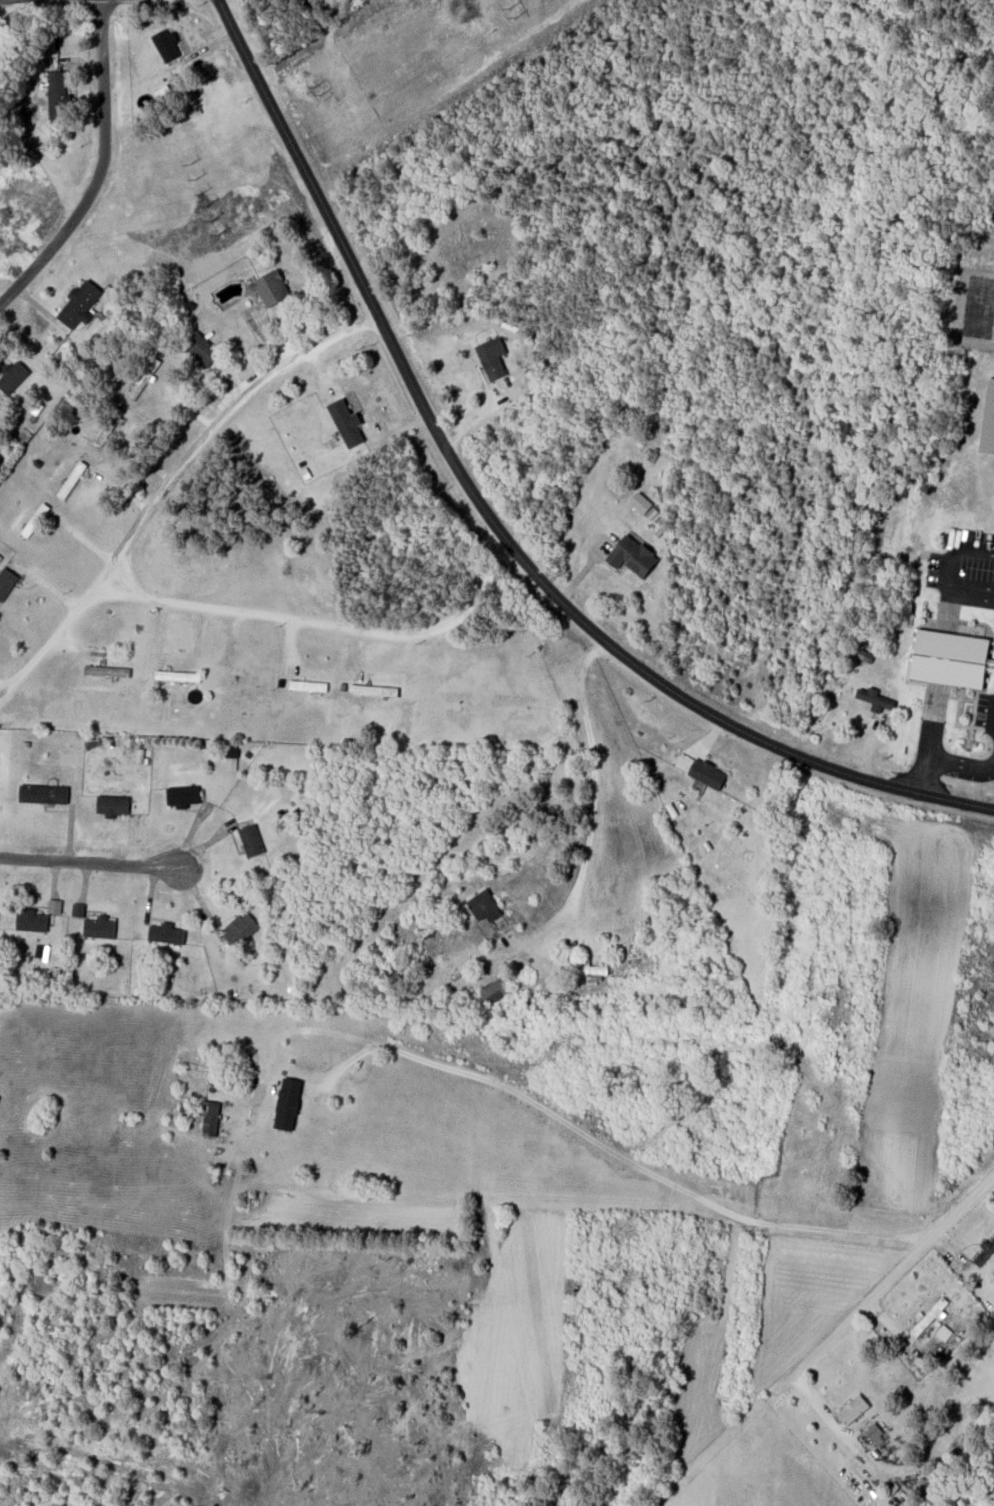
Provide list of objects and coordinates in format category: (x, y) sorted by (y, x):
power tower: (510, 20)
building: (165, 44)
building: (58, 95)
road: (99, 167)
power tower: (190, 174)
power tower: (207, 213)
building: (270, 287)
building: (78, 303)
building: (201, 348)
building: (491, 357)
building: (12, 376)
building: (988, 419)
building: (345, 422)
road: (170, 484)
building: (639, 502)
road: (494, 522)
building: (632, 555)
road: (950, 571)
building: (6, 581)
road: (327, 623)
building: (949, 658)
building: (102, 670)
building: (874, 698)
road: (947, 764)
building: (699, 769)
building: (43, 793)
building: (182, 795)
road: (592, 795)
building: (112, 804)
building: (250, 840)
road: (90, 861)
building: (54, 905)
building: (484, 905)
building: (77, 909)
building: (30, 919)
building: (98, 926)
building: (239, 928)
building: (165, 933)
building: (590, 971)
building: (494, 989)
building: (286, 1103)
building: (209, 1117)
road: (611, 1150)
building: (985, 1251)
road: (894, 1269)
building: (927, 1316)
building: (851, 1409)
building: (875, 1433)

